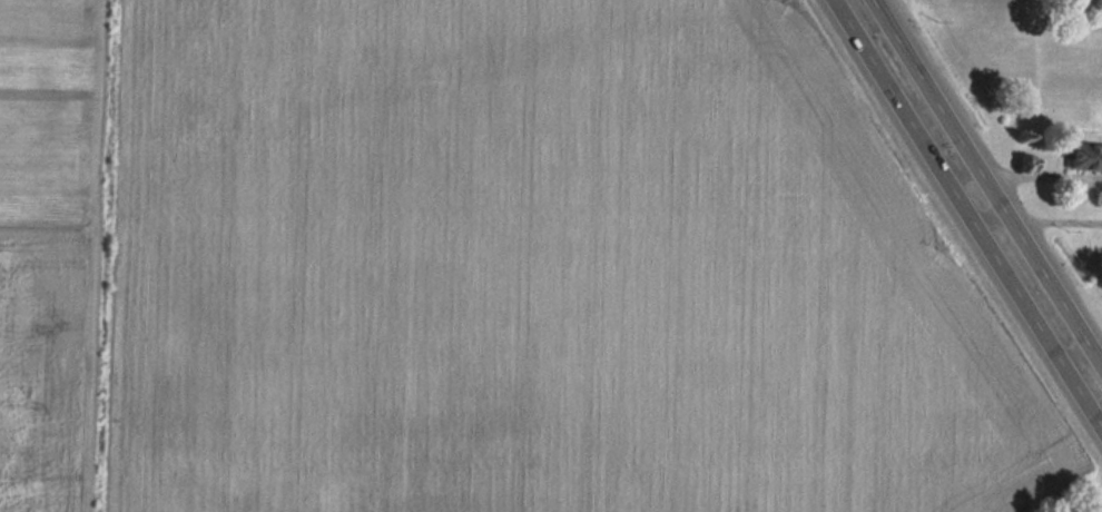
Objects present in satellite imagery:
building: (1084, 156)
road: (991, 176)
road: (967, 214)
road: (1061, 221)
building: (1079, 511)

